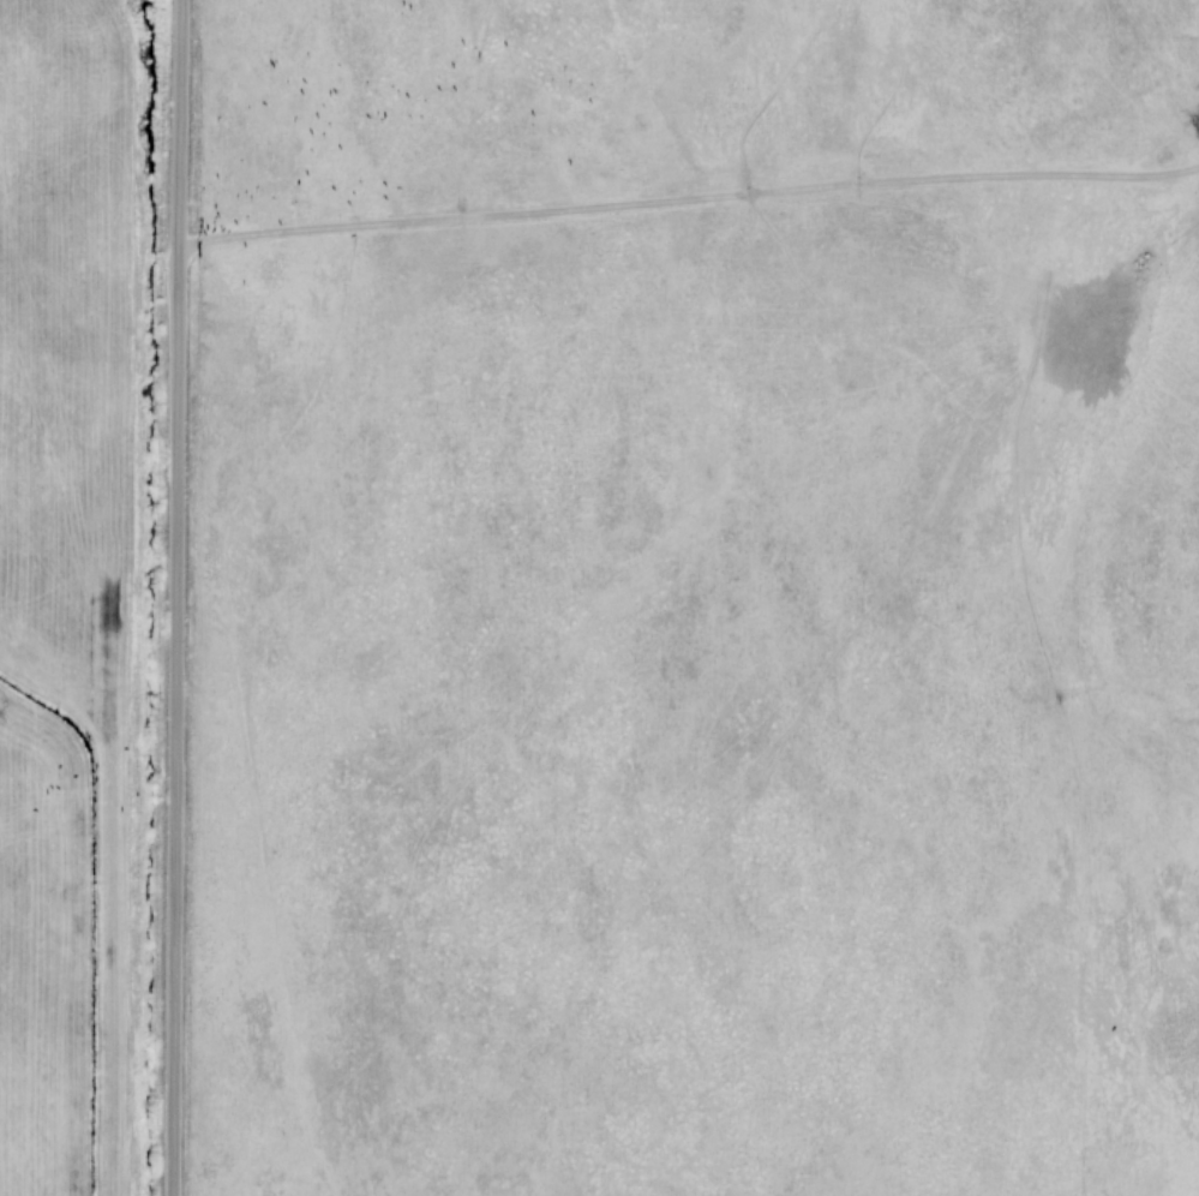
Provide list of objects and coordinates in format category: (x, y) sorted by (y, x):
road: (702, 195)
road: (203, 598)

